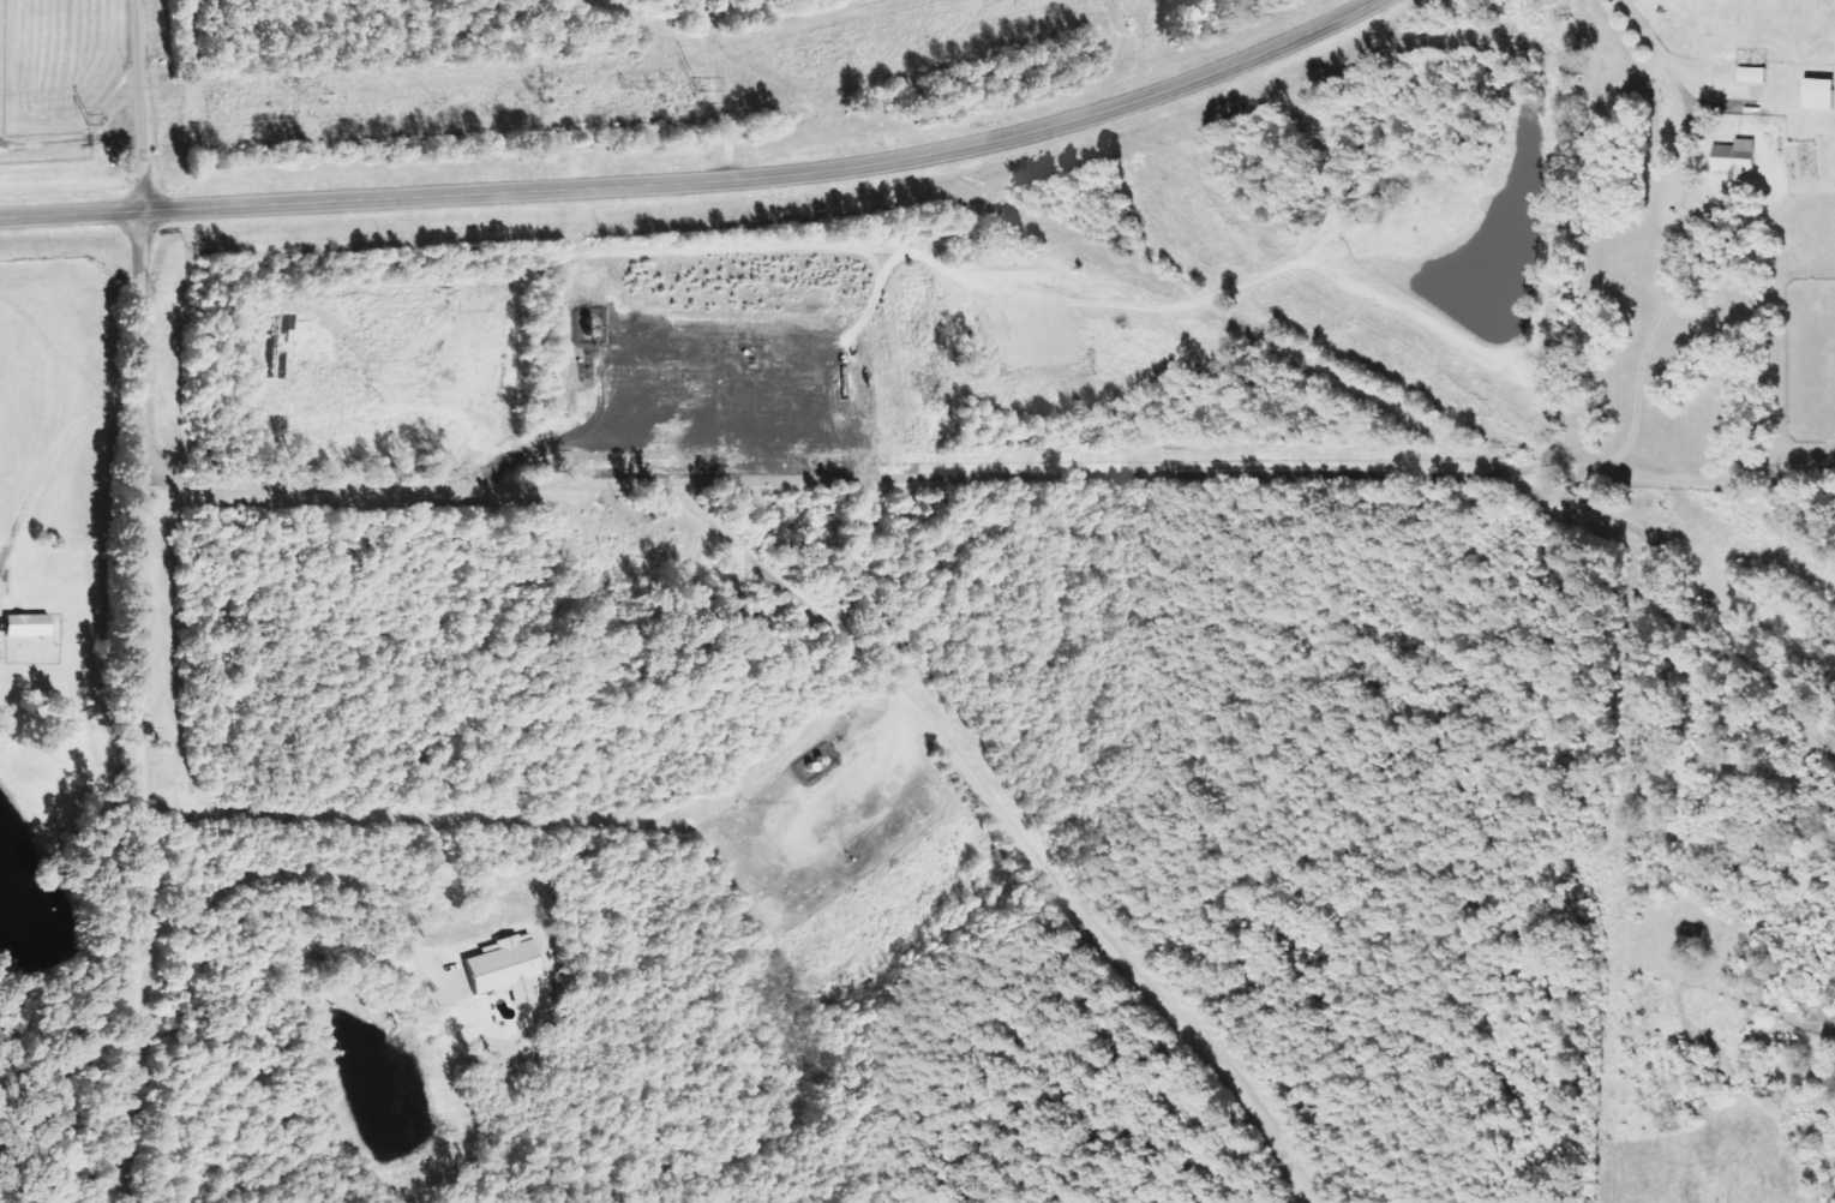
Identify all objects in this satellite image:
road: (1650, 43)
building: (1752, 73)
power tower: (696, 91)
building: (1818, 92)
road: (136, 104)
power tower: (90, 125)
road: (68, 138)
building: (1734, 157)
road: (700, 181)
road: (46, 459)
road: (1655, 467)
road: (682, 477)
road: (1685, 575)
building: (22, 626)
road: (1003, 825)
road: (140, 831)
building: (1685, 934)
building: (500, 968)

